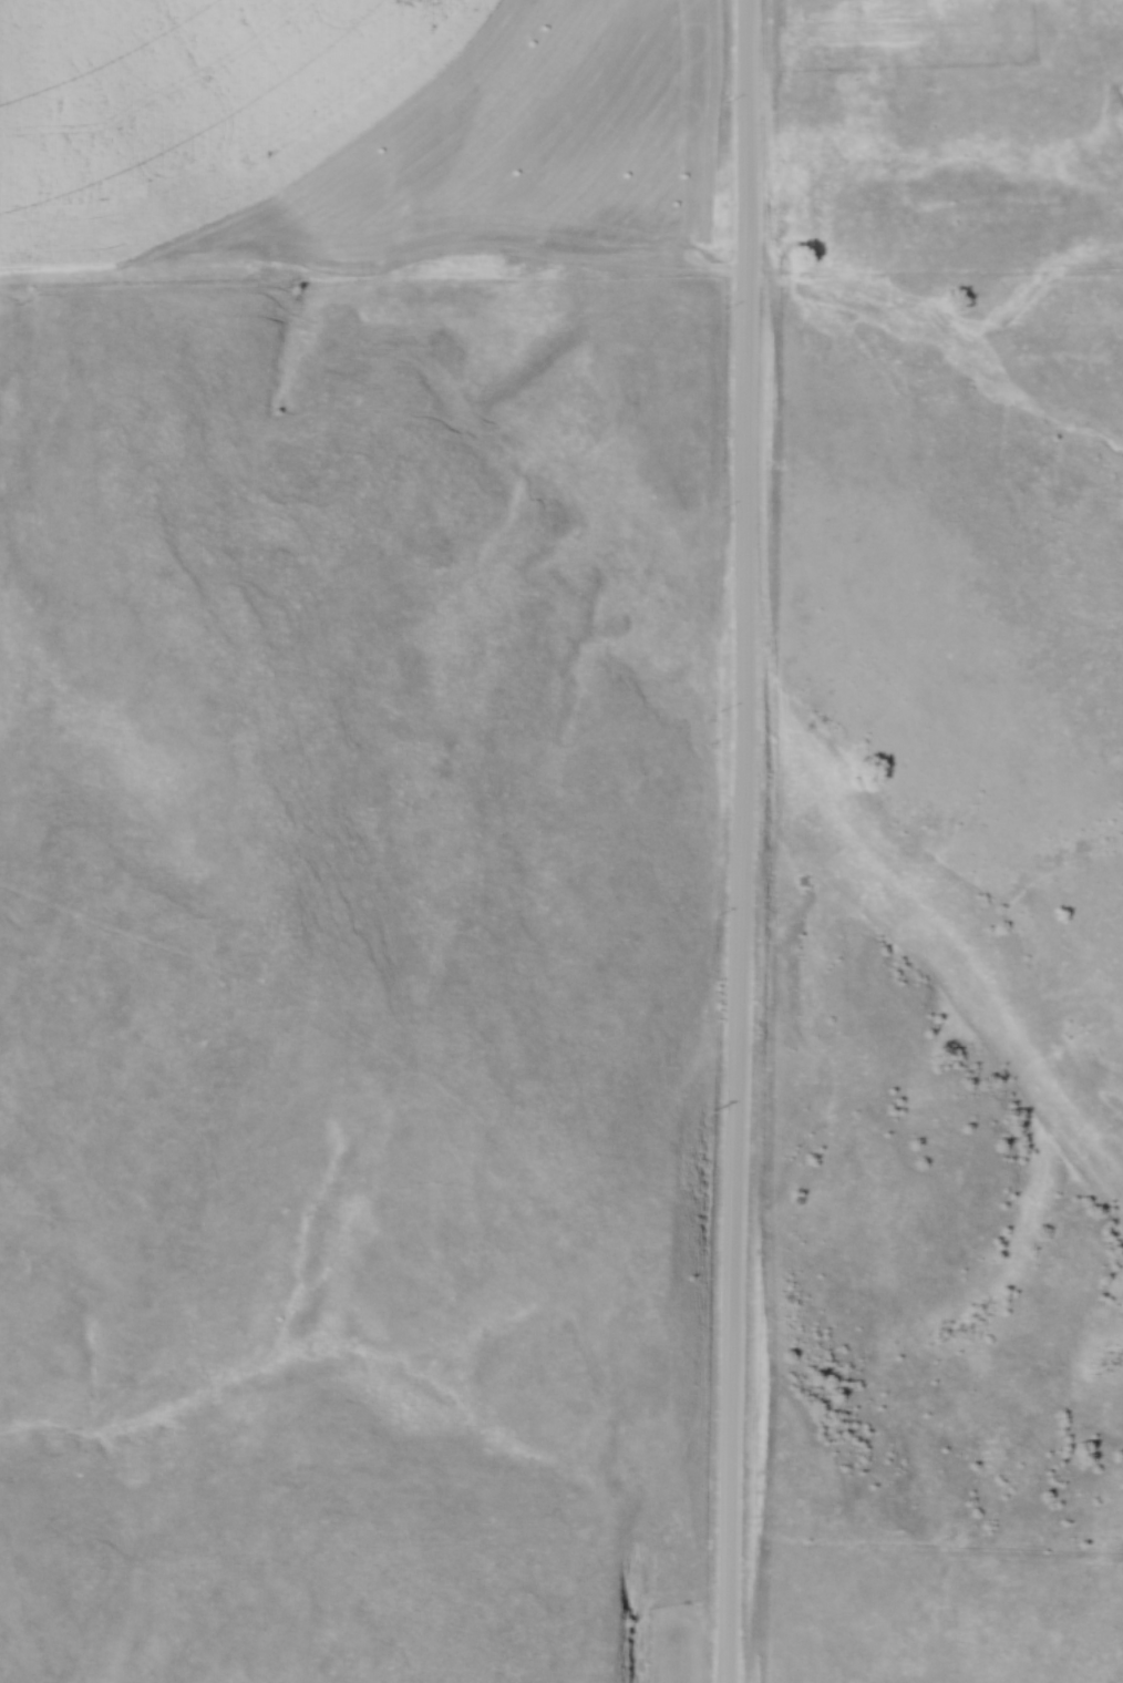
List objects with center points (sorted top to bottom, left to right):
road: (740, 841)

